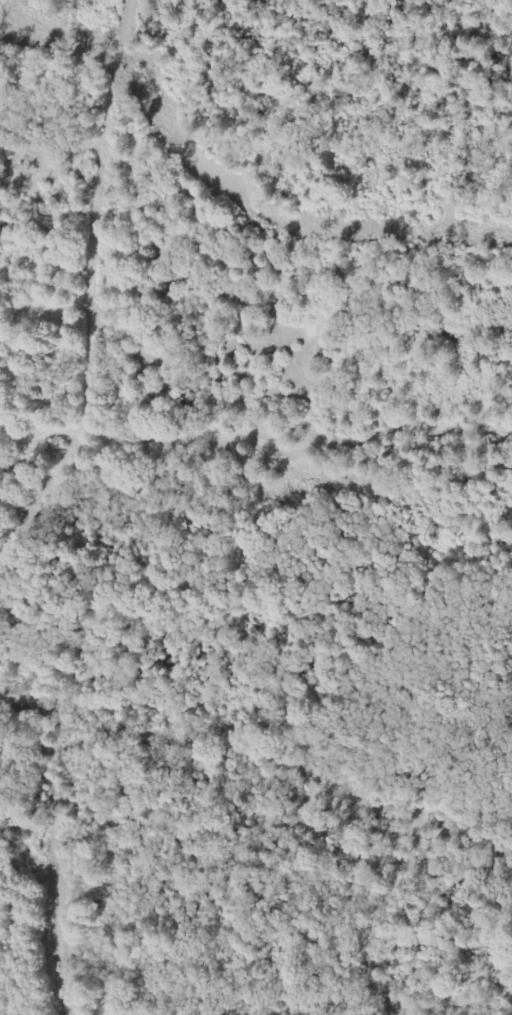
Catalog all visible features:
road: (98, 123)
road: (8, 540)

